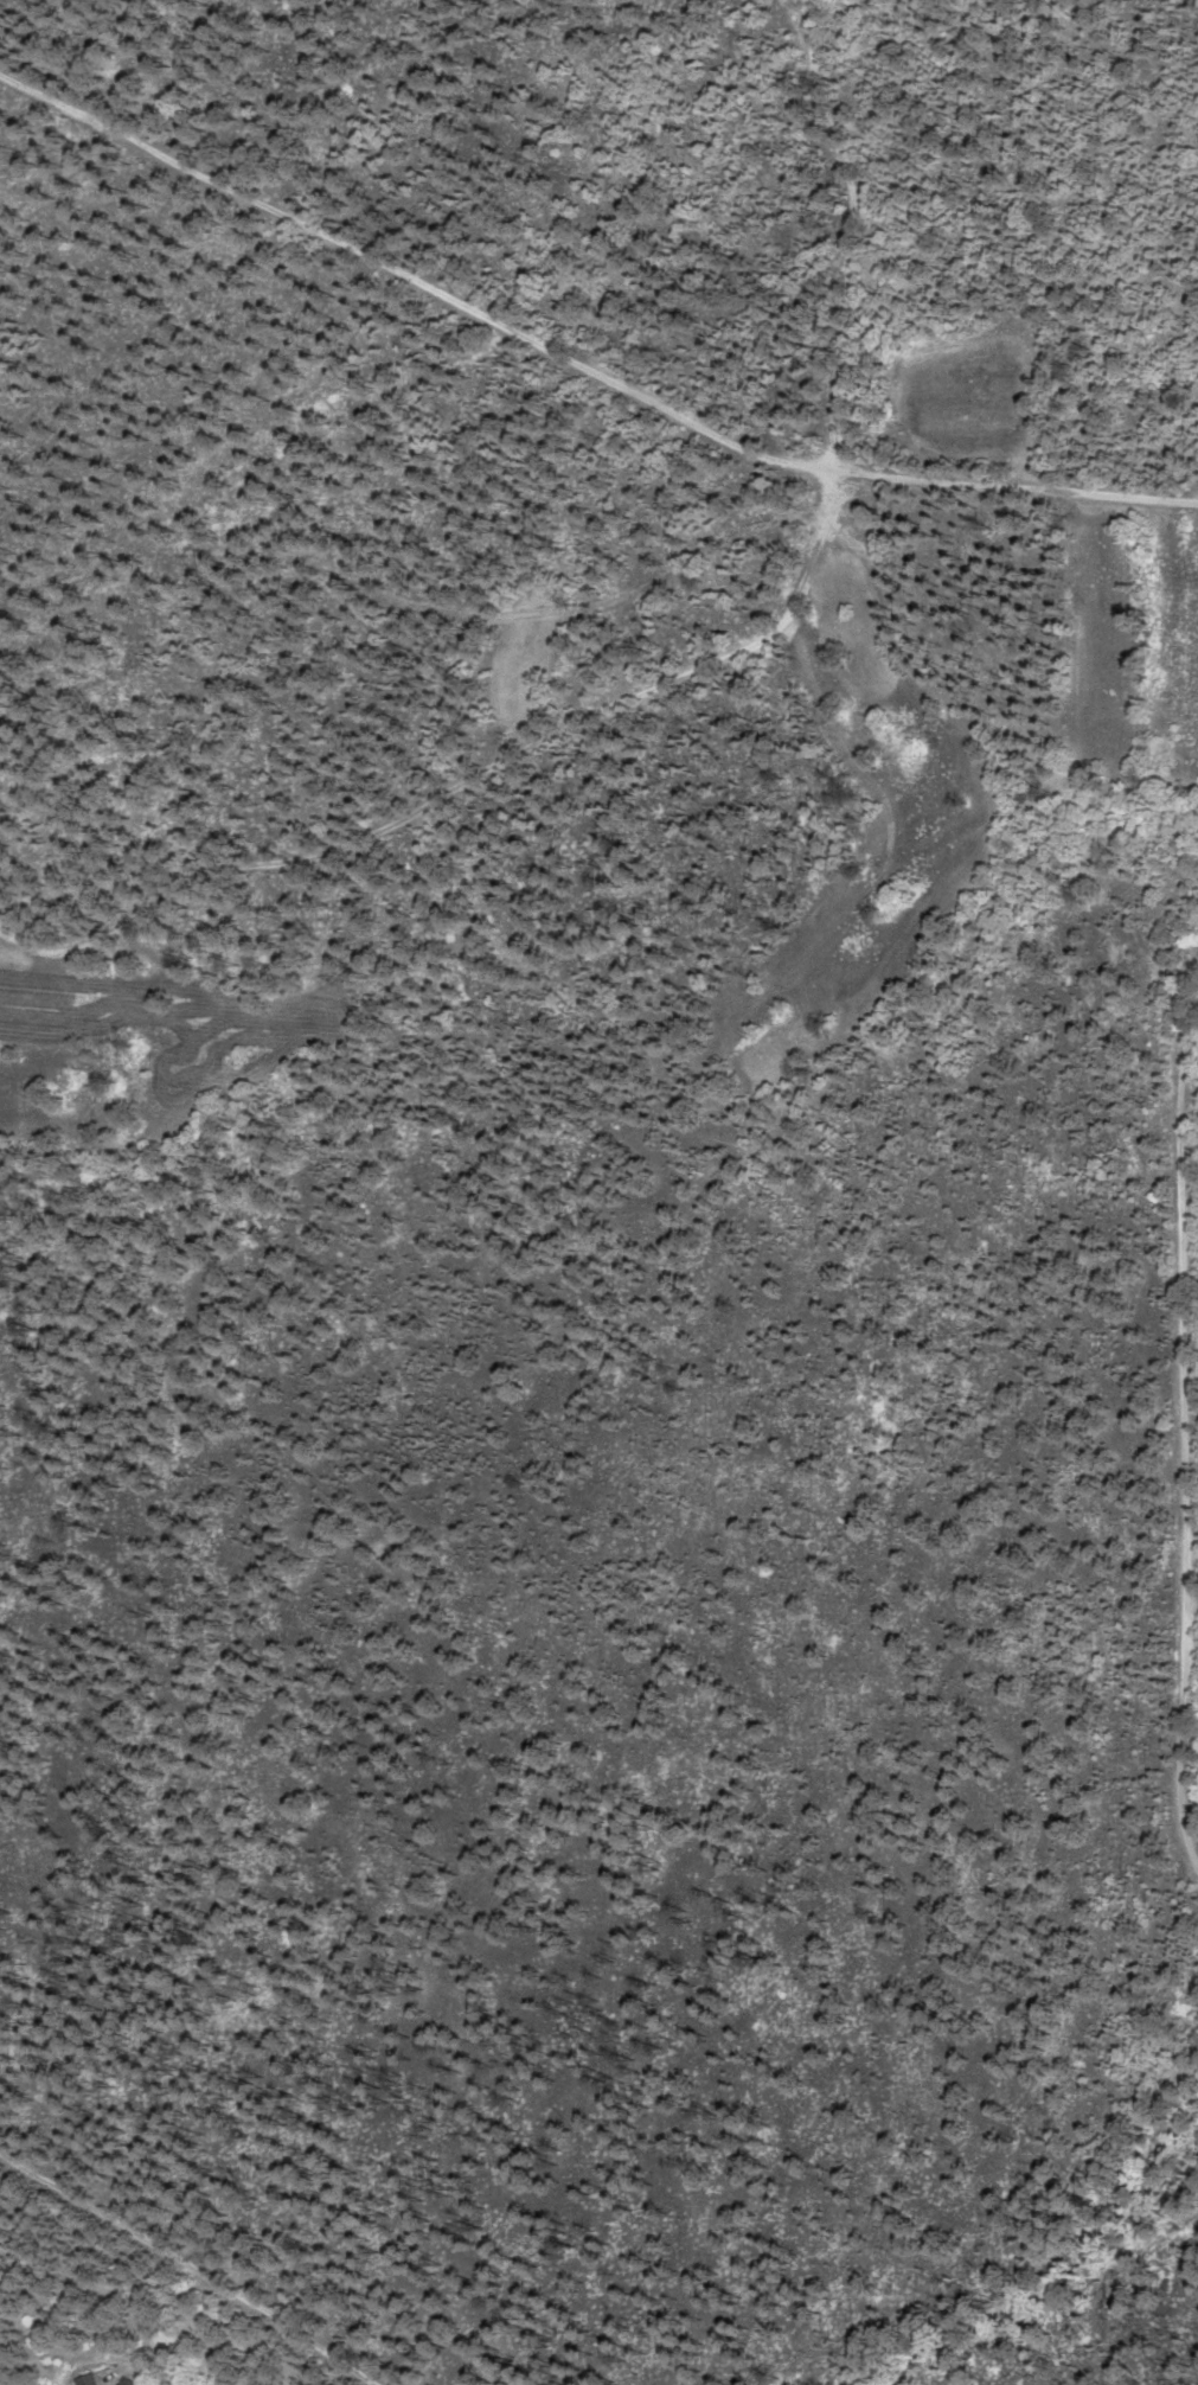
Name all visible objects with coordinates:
building: (88, 2379)
building: (130, 2381)

